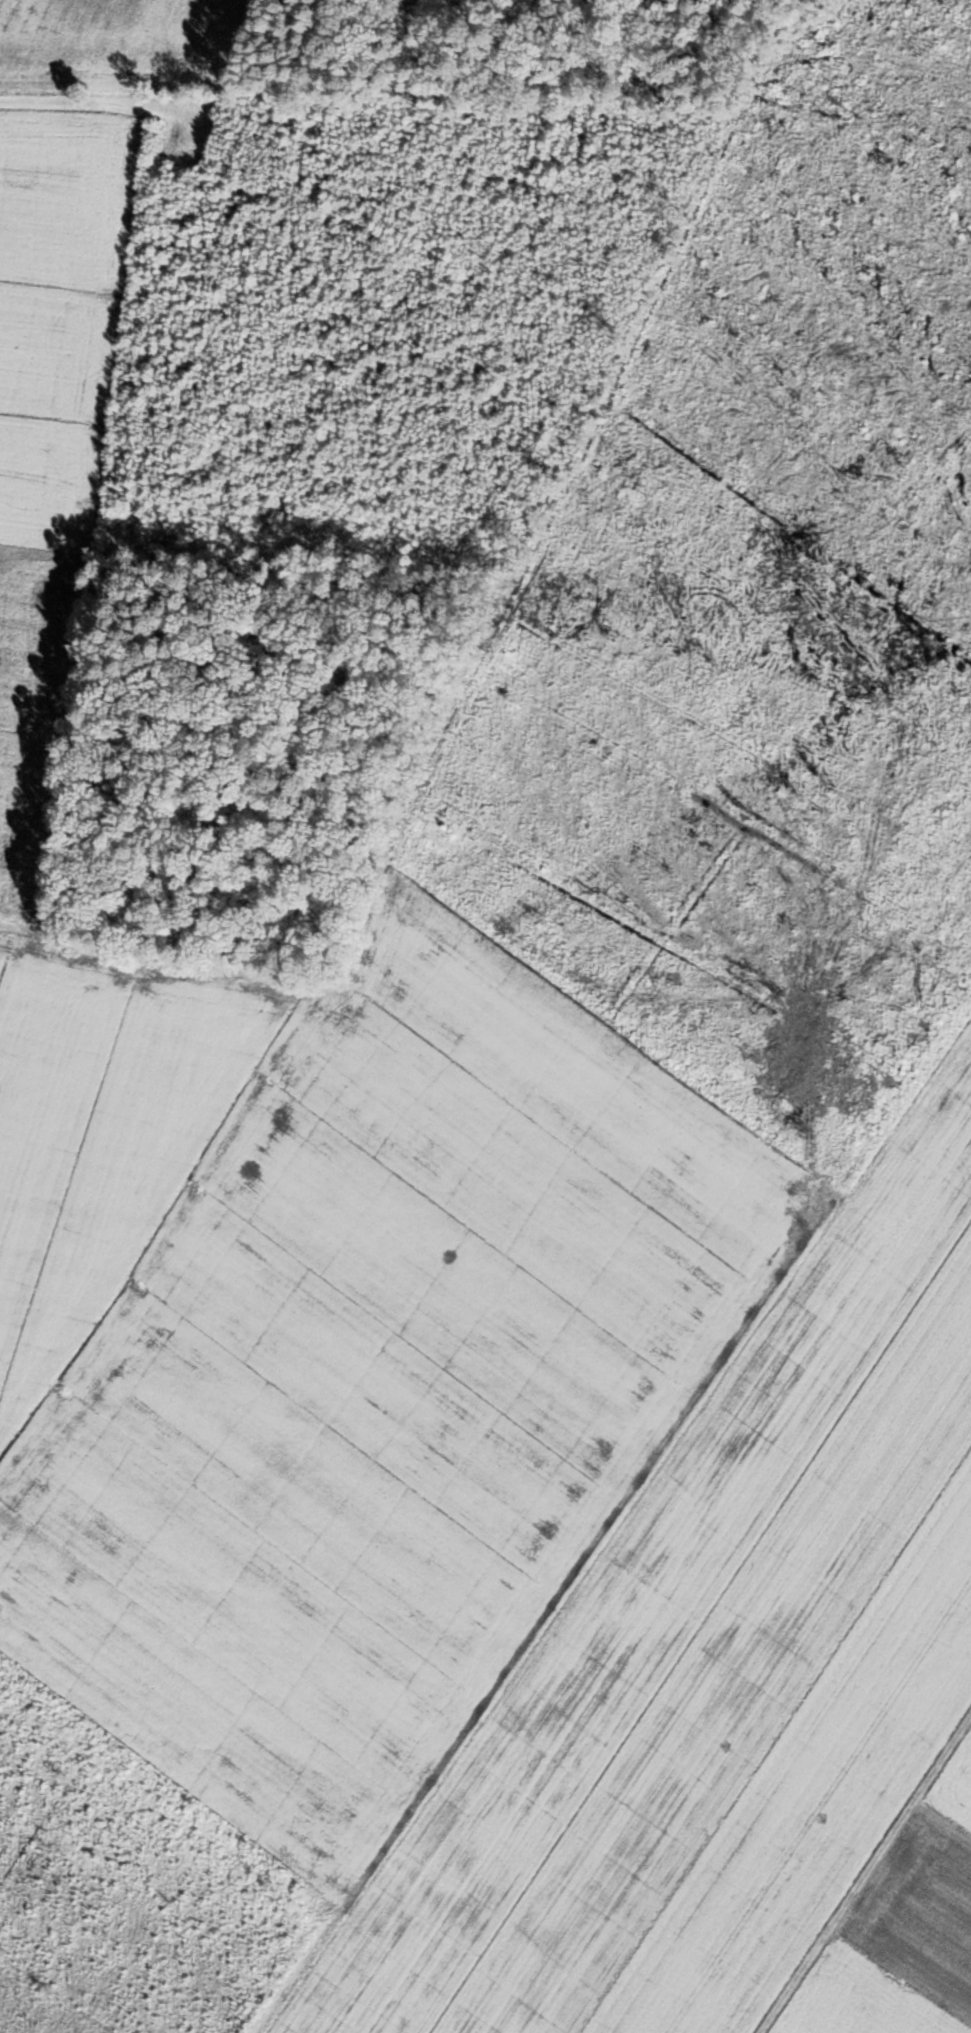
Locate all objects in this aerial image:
road: (868, 1880)

